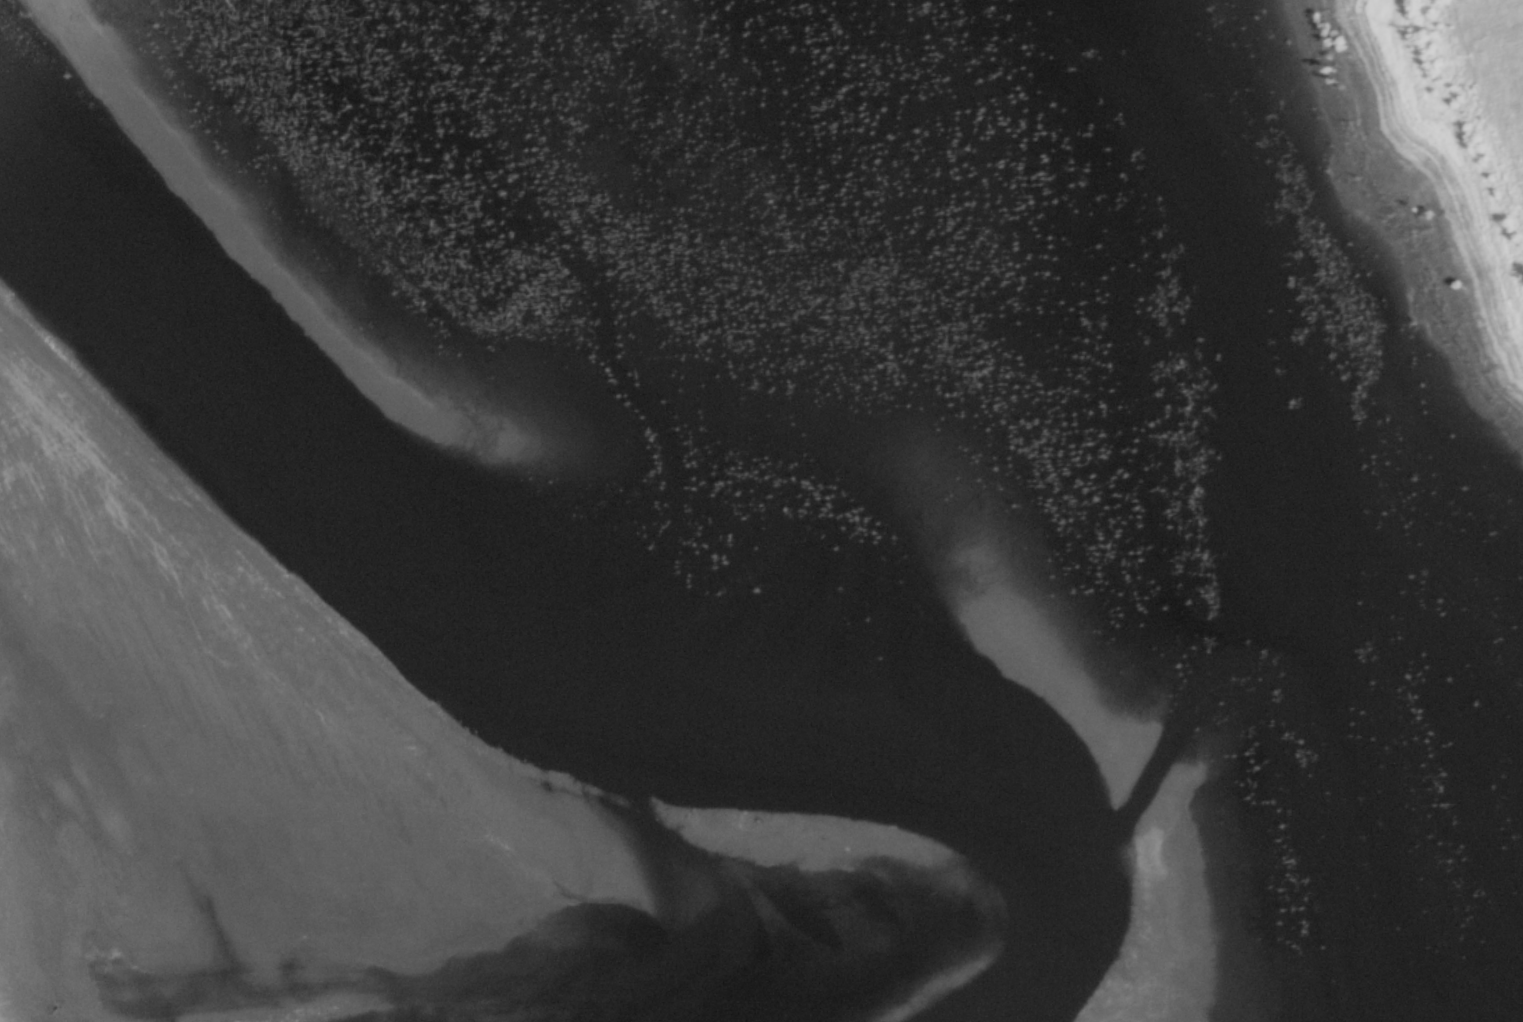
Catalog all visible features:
river: (535, 650)
crop: (252, 777)

